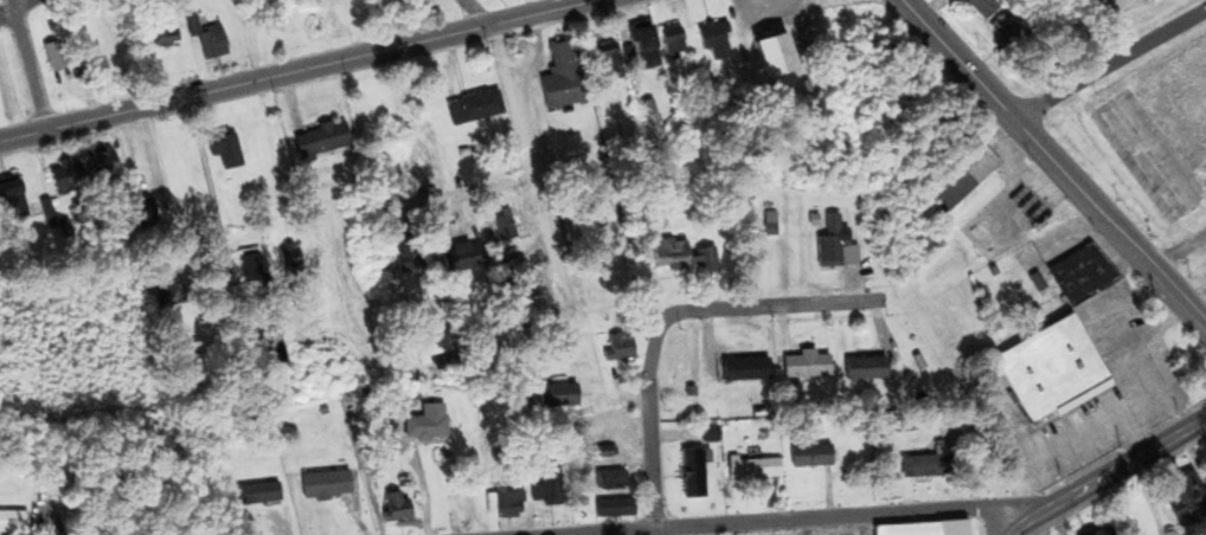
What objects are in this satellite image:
building: (823, 0)
building: (424, 5)
road: (13, 7)
building: (977, 7)
building: (1111, 8)
road: (475, 13)
building: (160, 32)
building: (1003, 33)
building: (671, 40)
building: (712, 41)
building: (209, 43)
building: (642, 47)
building: (772, 56)
building: (52, 58)
building: (603, 58)
road: (1109, 63)
road: (26, 64)
road: (297, 71)
building: (559, 78)
building: (472, 108)
building: (1159, 131)
building: (317, 140)
building: (222, 149)
road: (519, 152)
road: (269, 157)
road: (1056, 165)
building: (98, 167)
building: (956, 175)
road: (441, 178)
building: (62, 179)
building: (9, 201)
building: (1028, 210)
building: (500, 225)
building: (826, 241)
building: (288, 256)
building: (405, 256)
building: (458, 257)
building: (678, 257)
building: (248, 265)
building: (1079, 272)
building: (512, 275)
building: (165, 294)
road: (766, 307)
road: (1155, 320)
building: (615, 347)
building: (801, 365)
building: (1046, 367)
building: (859, 369)
building: (552, 395)
road: (1114, 418)
building: (424, 424)
road: (647, 424)
road: (1131, 436)
building: (601, 451)
building: (806, 456)
building: (918, 466)
building: (750, 470)
building: (688, 473)
road: (1104, 477)
building: (608, 479)
building: (544, 484)
building: (321, 485)
building: (255, 494)
building: (1180, 499)
building: (505, 504)
building: (393, 508)
building: (610, 508)
road: (783, 518)
building: (11, 522)
building: (923, 529)
road: (654, 530)

